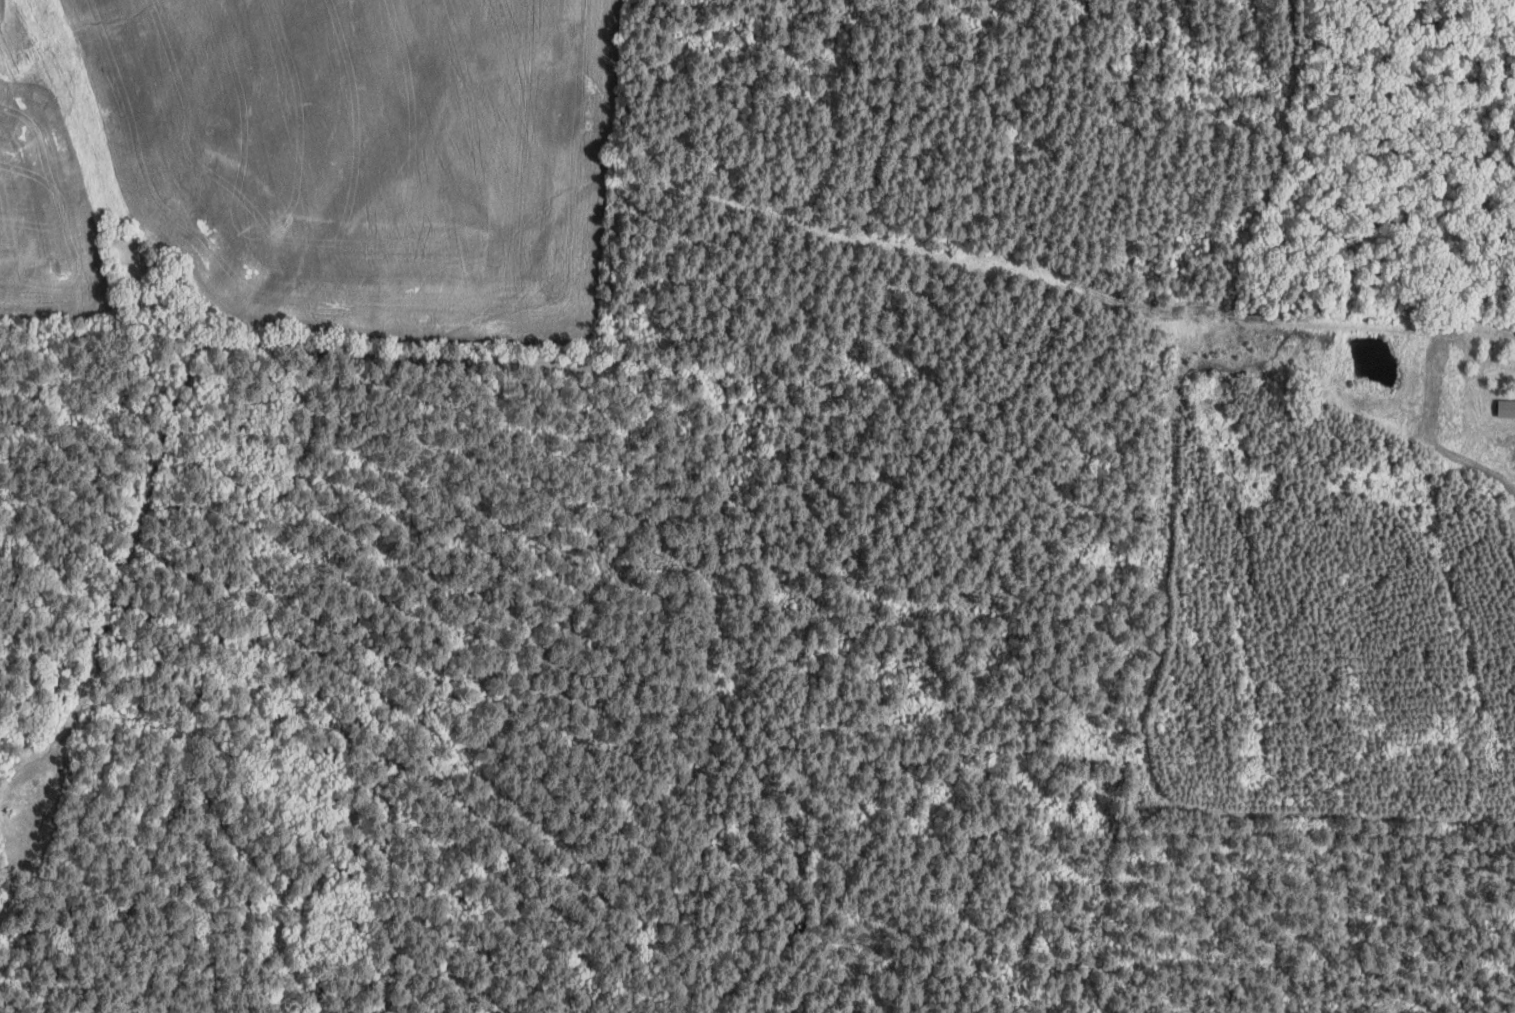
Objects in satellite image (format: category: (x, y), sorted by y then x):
building: (1508, 408)
road: (2, 872)

